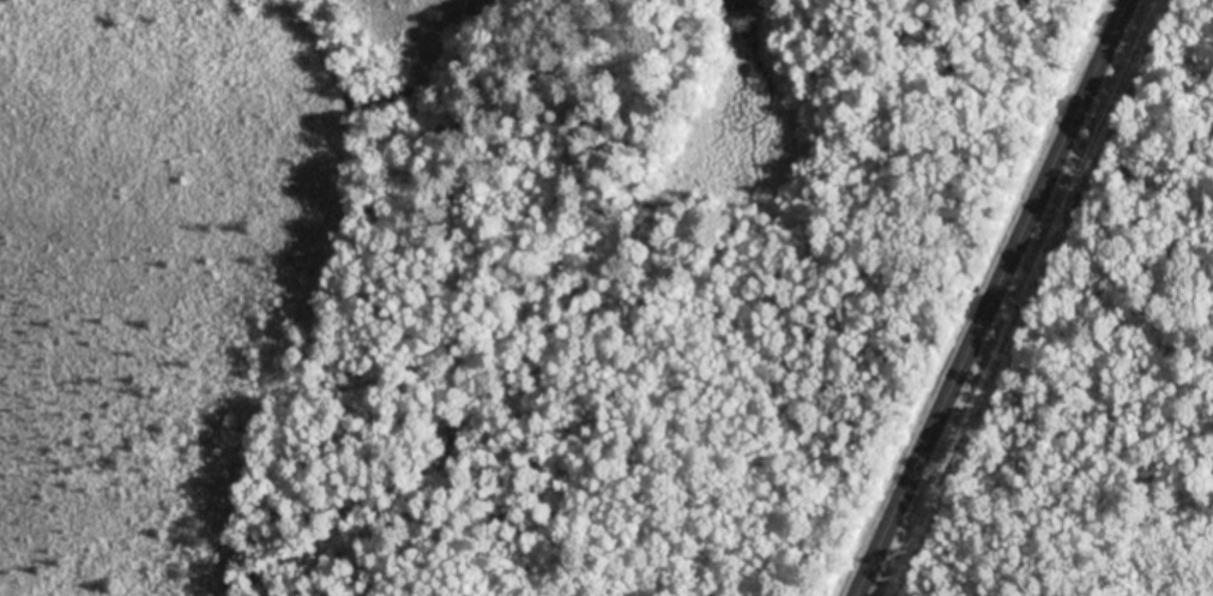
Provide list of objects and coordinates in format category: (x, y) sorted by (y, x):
road: (994, 297)

